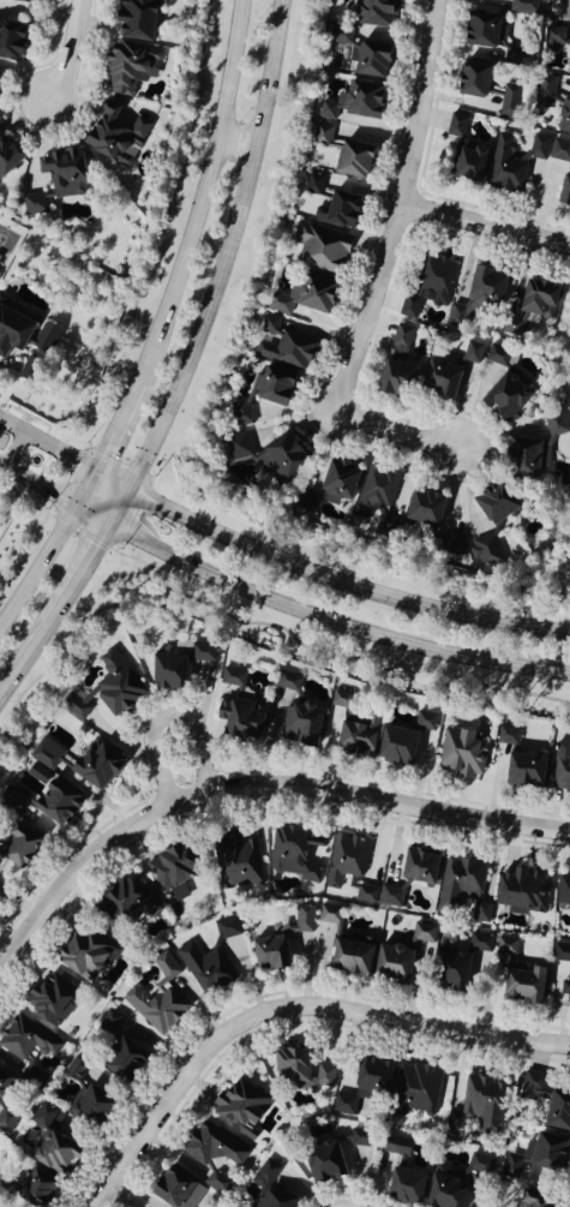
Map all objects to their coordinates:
building: (29, 0)
building: (523, 6)
building: (562, 10)
building: (372, 12)
building: (132, 19)
building: (476, 30)
building: (10, 41)
building: (558, 44)
building: (361, 53)
road: (68, 55)
building: (127, 67)
building: (468, 79)
building: (506, 102)
building: (352, 103)
building: (553, 103)
building: (455, 125)
building: (112, 133)
building: (322, 135)
road: (236, 143)
building: (559, 150)
building: (6, 157)
building: (349, 160)
building: (464, 162)
building: (514, 163)
building: (62, 172)
building: (313, 185)
road: (200, 195)
building: (34, 204)
building: (336, 210)
road: (487, 226)
building: (319, 247)
road: (217, 270)
road: (383, 270)
building: (428, 286)
building: (479, 294)
building: (300, 295)
building: (528, 304)
building: (11, 333)
building: (44, 340)
building: (398, 340)
building: (283, 345)
building: (472, 352)
building: (497, 355)
building: (390, 377)
building: (437, 380)
building: (271, 388)
building: (503, 398)
road: (11, 428)
road: (114, 428)
road: (13, 452)
road: (59, 453)
building: (264, 454)
building: (521, 459)
road: (1, 468)
traffic signals: (95, 472)
building: (334, 483)
road: (37, 490)
traffic signals: (130, 491)
building: (374, 491)
building: (491, 504)
building: (420, 509)
traffic signals: (72, 510)
traffic signals: (109, 528)
building: (450, 543)
road: (48, 545)
road: (86, 563)
road: (323, 579)
road: (312, 617)
road: (32, 646)
building: (200, 653)
building: (164, 671)
building: (232, 677)
building: (287, 682)
building: (104, 691)
building: (340, 700)
road: (166, 717)
building: (238, 719)
building: (425, 719)
building: (298, 724)
building: (505, 736)
building: (354, 740)
building: (395, 747)
building: (458, 754)
building: (79, 764)
building: (521, 771)
road: (248, 787)
building: (40, 799)
building: (13, 849)
building: (292, 854)
building: (346, 860)
building: (236, 864)
building: (168, 877)
building: (408, 877)
building: (461, 891)
building: (560, 891)
building: (365, 892)
building: (520, 892)
building: (125, 903)
building: (328, 915)
building: (302, 919)
building: (480, 944)
building: (82, 955)
building: (268, 955)
building: (346, 958)
building: (389, 963)
building: (204, 968)
building: (446, 970)
building: (562, 976)
building: (520, 987)
building: (157, 998)
building: (56, 999)
road: (295, 1002)
building: (109, 1023)
building: (30, 1040)
building: (134, 1060)
building: (299, 1071)
building: (362, 1087)
building: (6, 1091)
building: (415, 1092)
building: (545, 1103)
building: (100, 1104)
building: (479, 1104)
building: (247, 1106)
building: (64, 1141)
building: (395, 1146)
building: (216, 1149)
building: (532, 1157)
building: (332, 1161)
building: (389, 1163)
building: (478, 1166)
building: (269, 1173)
building: (400, 1185)
building: (8, 1187)
building: (184, 1188)
building: (48, 1189)
building: (440, 1191)
road: (101, 1199)
building: (528, 1203)

